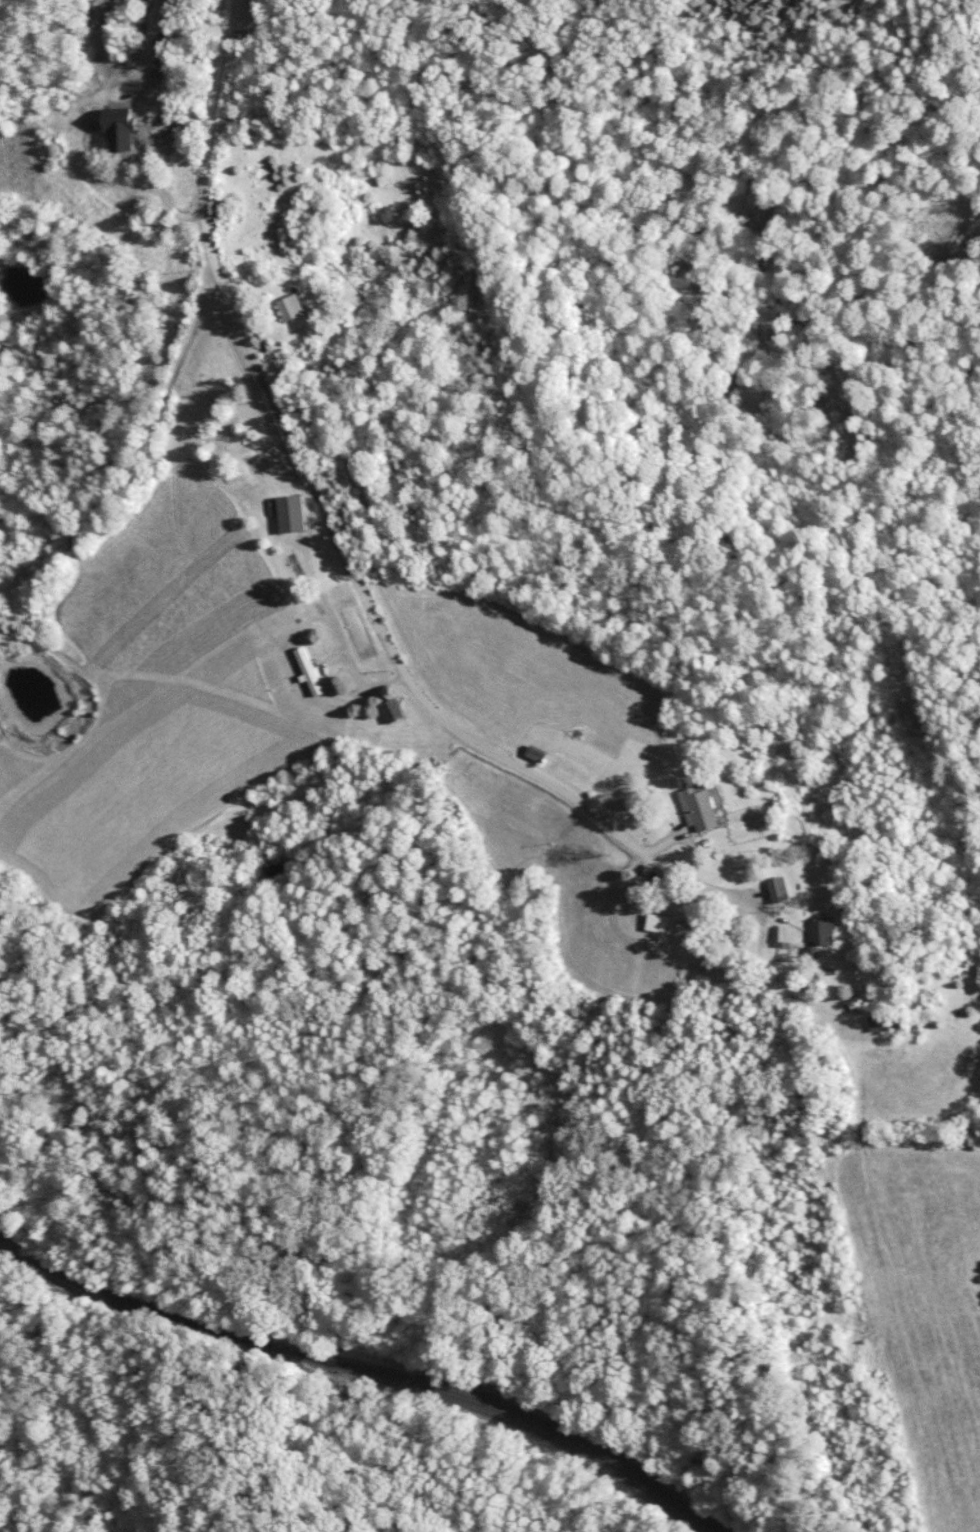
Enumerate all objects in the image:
building: (246, 35)
building: (121, 127)
building: (163, 131)
road: (205, 160)
building: (162, 225)
building: (291, 306)
building: (262, 460)
building: (290, 511)
road: (390, 644)
building: (309, 670)
building: (394, 709)
building: (537, 753)
building: (699, 807)
building: (778, 889)
building: (779, 933)
building: (821, 934)
railway: (369, 1366)

